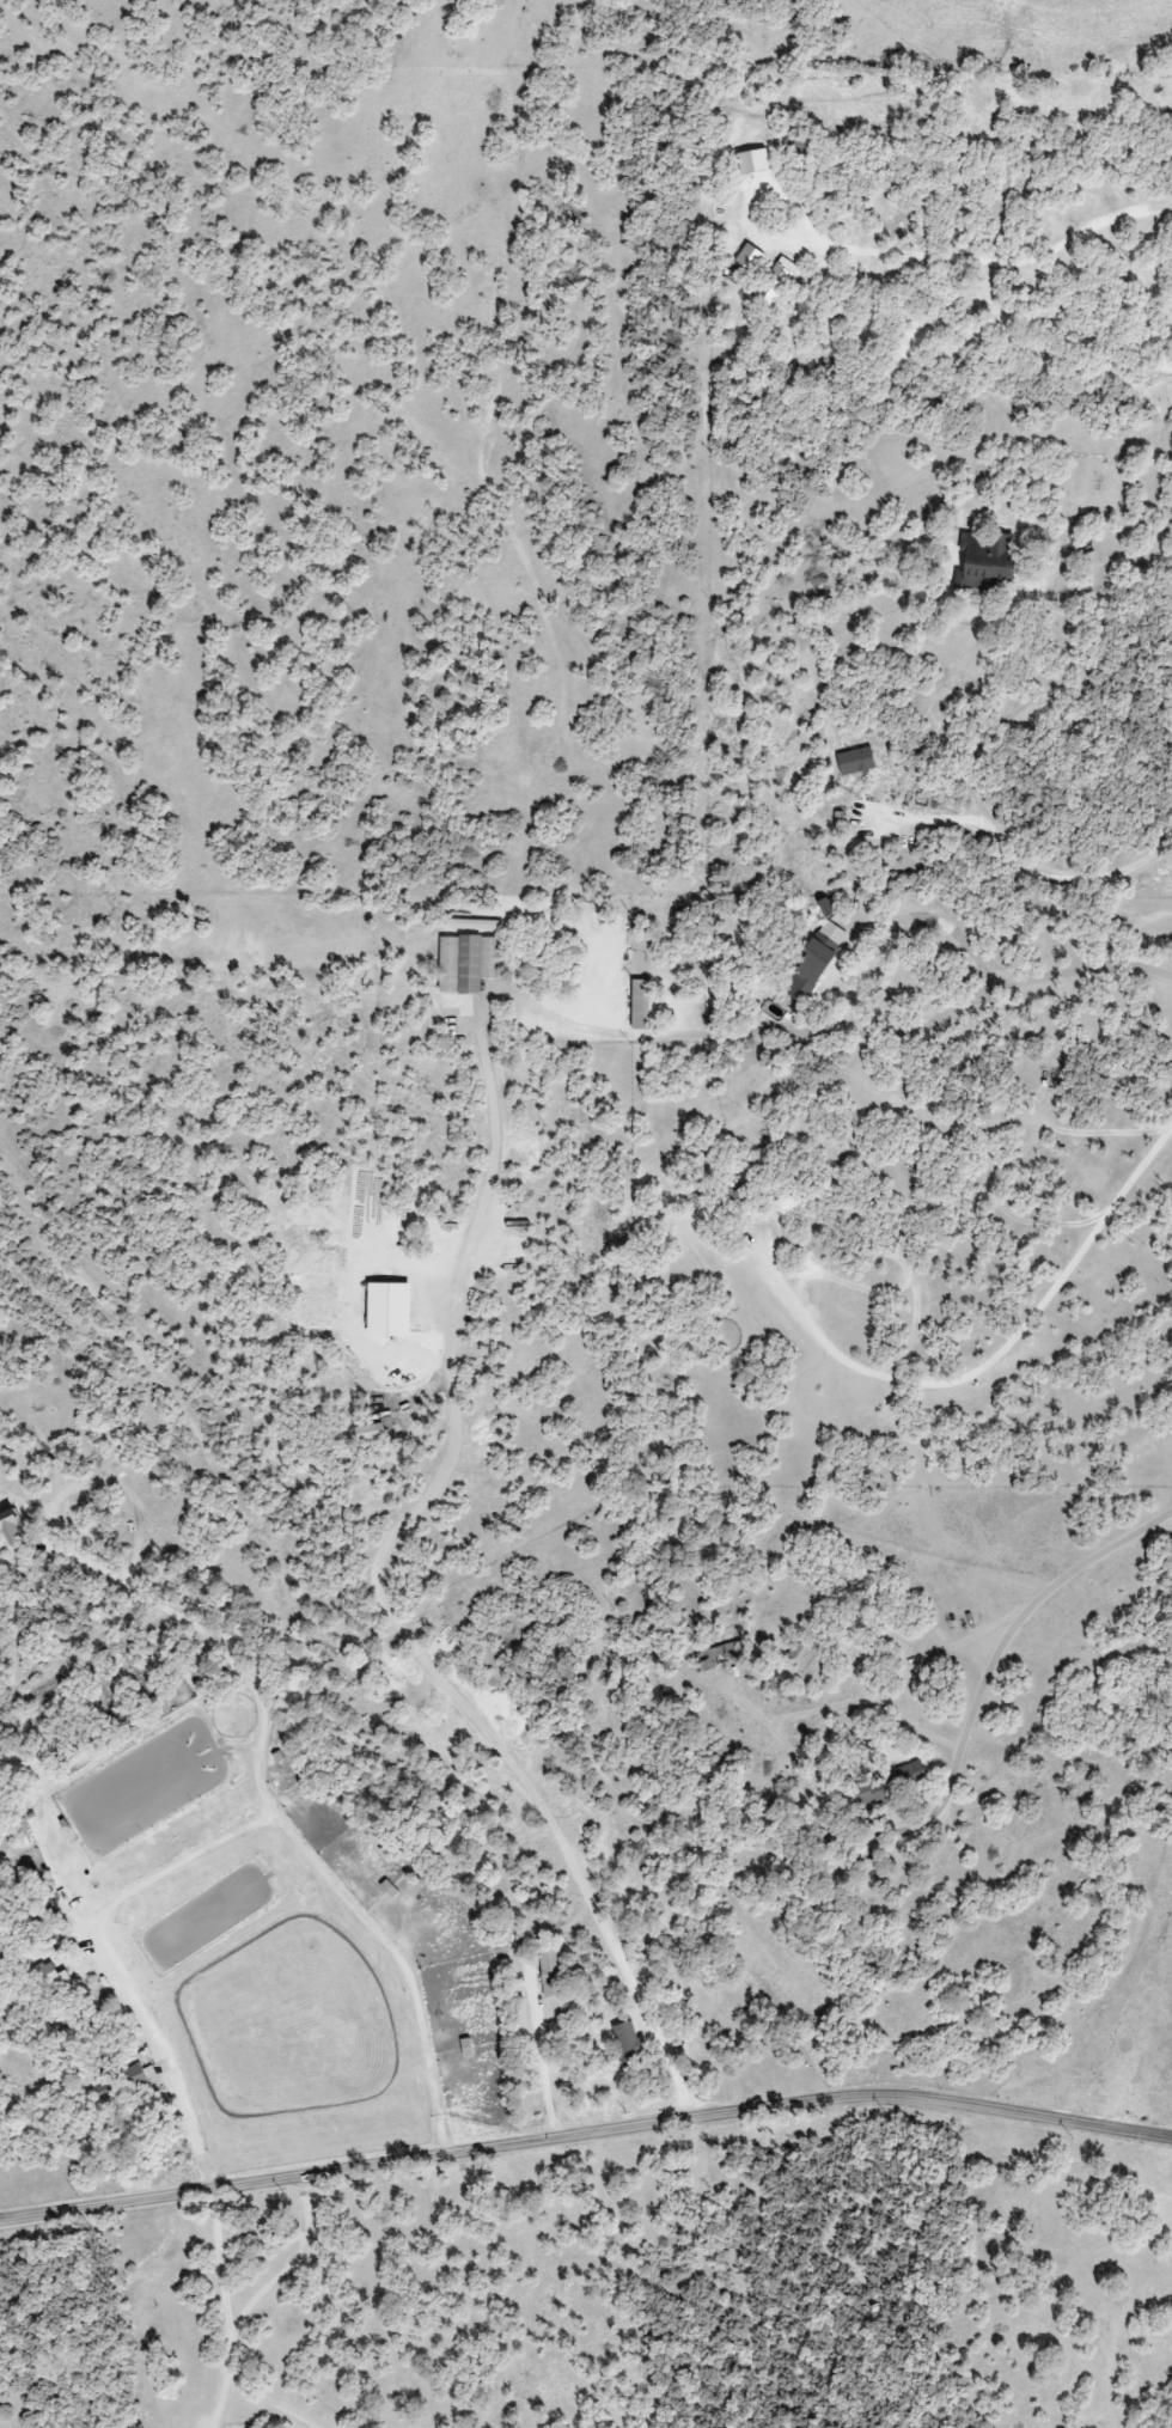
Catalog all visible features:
building: (747, 256)
road: (997, 257)
building: (777, 286)
building: (984, 563)
building: (855, 761)
road: (976, 805)
road: (924, 818)
building: (817, 958)
building: (468, 963)
road: (1084, 963)
road: (825, 986)
building: (640, 1005)
building: (391, 1310)
road: (999, 1359)
building: (371, 1433)
road: (457, 1451)
building: (12, 1530)
road: (1018, 1630)
building: (721, 1657)
building: (886, 1786)
road: (285, 1826)
building: (553, 1972)
building: (48, 1976)
building: (628, 2042)
road: (158, 2061)
road: (541, 2063)
building: (140, 2075)
road: (585, 2135)
road: (221, 2263)
road: (295, 2265)
road: (228, 2381)

